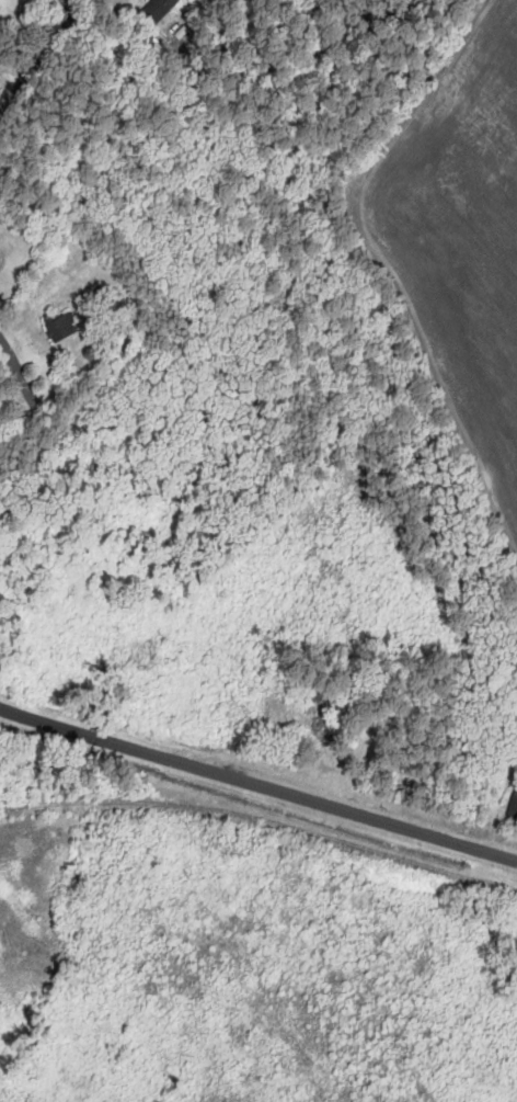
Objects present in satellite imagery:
road: (76, 3)
road: (43, 56)
building: (61, 328)
road: (14, 364)
road: (32, 397)
road: (257, 785)
building: (514, 809)
railway: (262, 819)
building: (258, 821)

